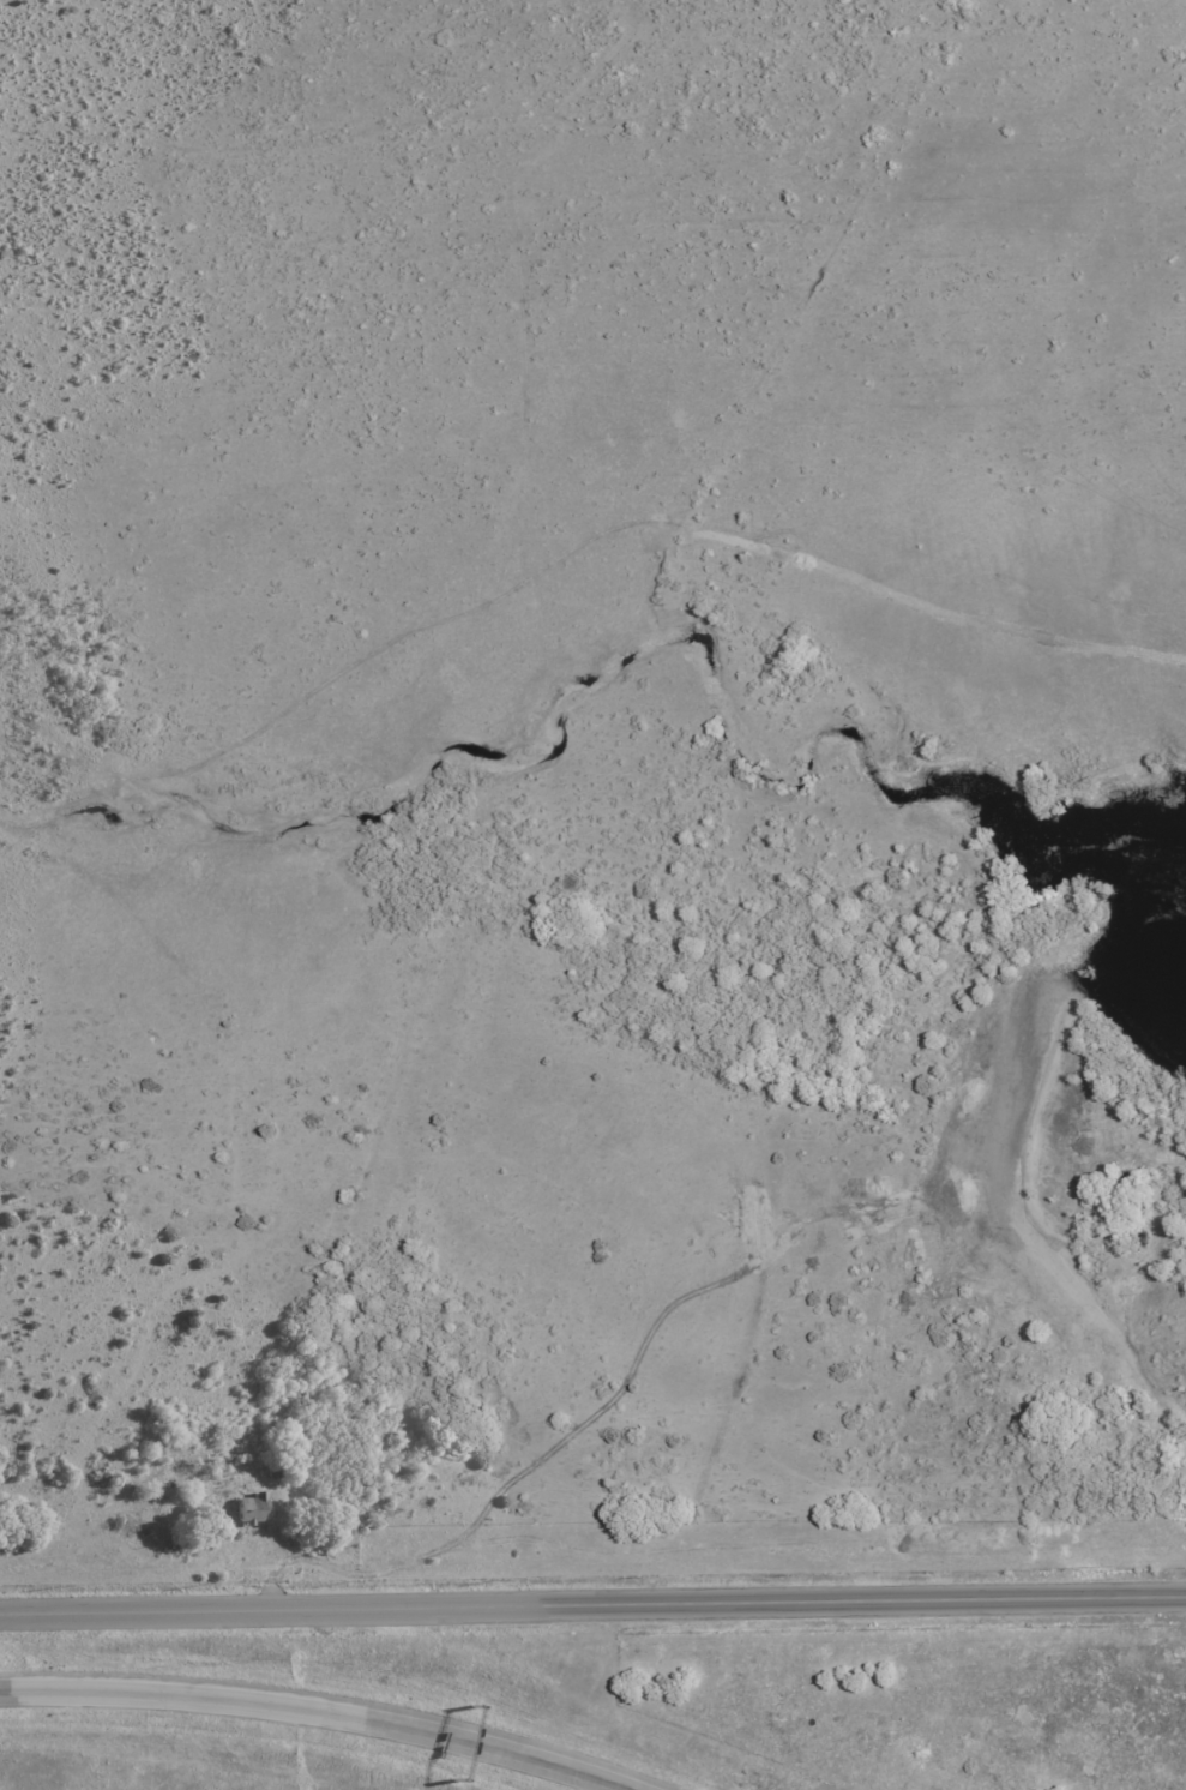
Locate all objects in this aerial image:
building: (278, 1466)
building: (252, 1508)
road: (592, 1605)
road: (311, 1711)

